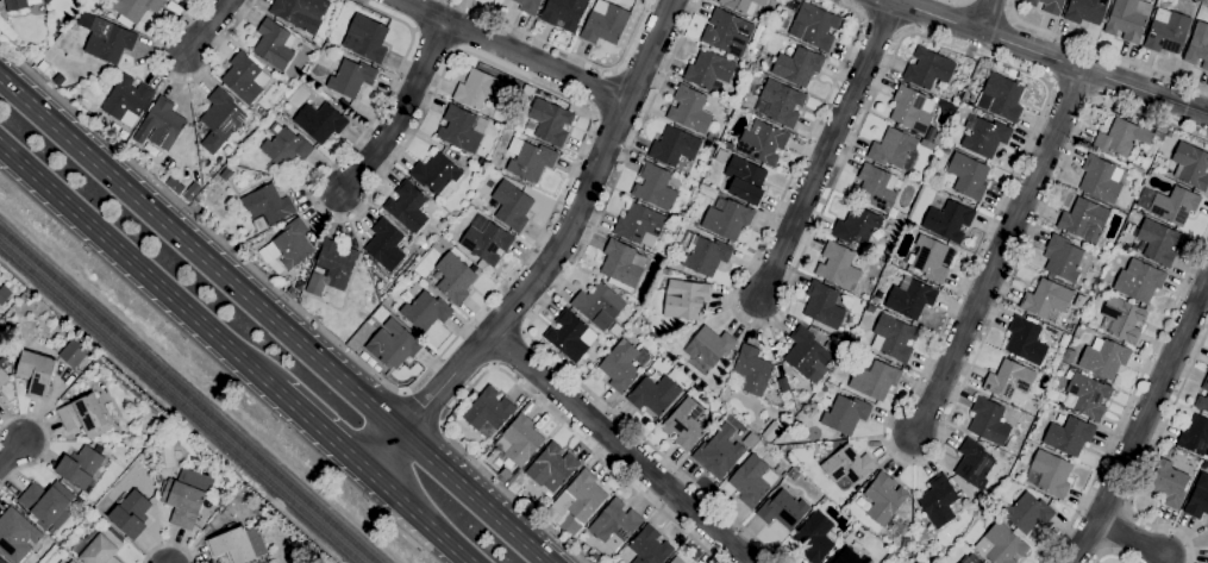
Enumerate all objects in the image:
building: (49, 0)
road: (956, 2)
building: (18, 5)
building: (743, 5)
building: (527, 6)
building: (1047, 6)
building: (795, 7)
building: (136, 8)
road: (985, 10)
building: (1085, 11)
building: (300, 13)
building: (563, 13)
road: (987, 17)
building: (1127, 19)
building: (605, 24)
building: (813, 26)
road: (206, 29)
building: (1166, 32)
building: (726, 33)
building: (365, 39)
building: (107, 42)
building: (274, 45)
building: (1198, 46)
road: (1101, 49)
road: (512, 51)
building: (755, 52)
road: (568, 54)
road: (1046, 57)
building: (797, 67)
building: (927, 69)
building: (708, 70)
building: (1013, 75)
building: (244, 79)
building: (351, 79)
road: (179, 81)
building: (478, 89)
road: (601, 92)
building: (1001, 98)
building: (127, 101)
building: (778, 104)
road: (400, 111)
building: (689, 111)
building: (912, 111)
building: (736, 112)
building: (976, 113)
building: (219, 120)
building: (550, 121)
building: (319, 123)
building: (161, 125)
road: (1035, 125)
building: (459, 130)
building: (931, 135)
building: (712, 137)
building: (984, 137)
building: (1126, 137)
building: (762, 143)
building: (674, 146)
building: (728, 146)
building: (284, 148)
building: (893, 149)
building: (226, 151)
road: (826, 151)
building: (720, 157)
building: (528, 161)
building: (1190, 167)
building: (225, 176)
building: (436, 176)
building: (969, 177)
building: (1100, 180)
building: (745, 181)
building: (655, 188)
building: (875, 188)
building: (267, 205)
building: (1175, 206)
building: (406, 207)
building: (512, 207)
road: (552, 207)
building: (196, 208)
building: (680, 217)
building: (901, 217)
building: (726, 219)
building: (949, 221)
building: (1084, 221)
building: (638, 224)
building: (693, 224)
building: (857, 226)
building: (486, 240)
building: (1158, 243)
building: (442, 244)
building: (289, 245)
building: (384, 245)
building: (423, 245)
road: (1000, 252)
road: (553, 254)
building: (703, 256)
building: (931, 259)
building: (1065, 259)
road: (138, 264)
building: (621, 265)
building: (840, 267)
building: (331, 268)
building: (453, 279)
building: (1139, 281)
building: (4, 294)
building: (910, 299)
building: (684, 300)
building: (875, 300)
building: (1045, 300)
building: (822, 306)
building: (600, 308)
building: (870, 309)
building: (425, 312)
building: (380, 315)
road: (277, 319)
road: (532, 319)
building: (1122, 319)
building: (370, 323)
building: (569, 337)
building: (894, 338)
building: (832, 340)
building: (1026, 340)
building: (392, 345)
building: (709, 346)
road: (508, 349)
building: (74, 352)
building: (806, 355)
building: (13, 356)
building: (363, 357)
building: (1103, 358)
building: (14, 362)
building: (370, 363)
building: (621, 367)
building: (376, 369)
building: (751, 370)
building: (4, 371)
building: (36, 373)
road: (502, 373)
building: (874, 379)
building: (1008, 380)
building: (1206, 384)
building: (653, 395)
railway: (187, 396)
building: (1087, 396)
road: (1128, 396)
building: (702, 398)
building: (0, 399)
railway: (180, 404)
building: (1202, 404)
road: (423, 408)
building: (488, 411)
building: (845, 415)
building: (83, 417)
building: (453, 417)
building: (988, 421)
road: (1141, 423)
building: (684, 424)
road: (324, 426)
building: (1069, 437)
building: (1195, 437)
road: (46, 439)
building: (517, 443)
road: (620, 446)
road: (11, 452)
building: (719, 453)
road: (1146, 459)
building: (1156, 459)
building: (847, 465)
building: (974, 465)
building: (1152, 467)
building: (80, 468)
building: (551, 468)
building: (1051, 474)
building: (503, 475)
building: (157, 477)
building: (752, 481)
building: (1202, 482)
building: (1169, 484)
building: (512, 490)
road: (382, 495)
building: (184, 498)
building: (580, 498)
building: (824, 499)
building: (883, 499)
building: (219, 501)
building: (938, 501)
building: (1197, 503)
building: (46, 505)
road: (373, 507)
building: (783, 511)
building: (1027, 513)
building: (131, 514)
road: (424, 515)
building: (614, 525)
road: (399, 531)
building: (17, 534)
building: (815, 537)
road: (1131, 538)
road: (167, 545)
building: (237, 545)
building: (1001, 545)
building: (650, 546)
building: (99, 548)
building: (895, 552)
road: (1109, 555)
building: (847, 557)
building: (971, 559)
building: (1, 561)
building: (676, 561)
building: (60, 562)
building: (62, 562)
building: (71, 562)

